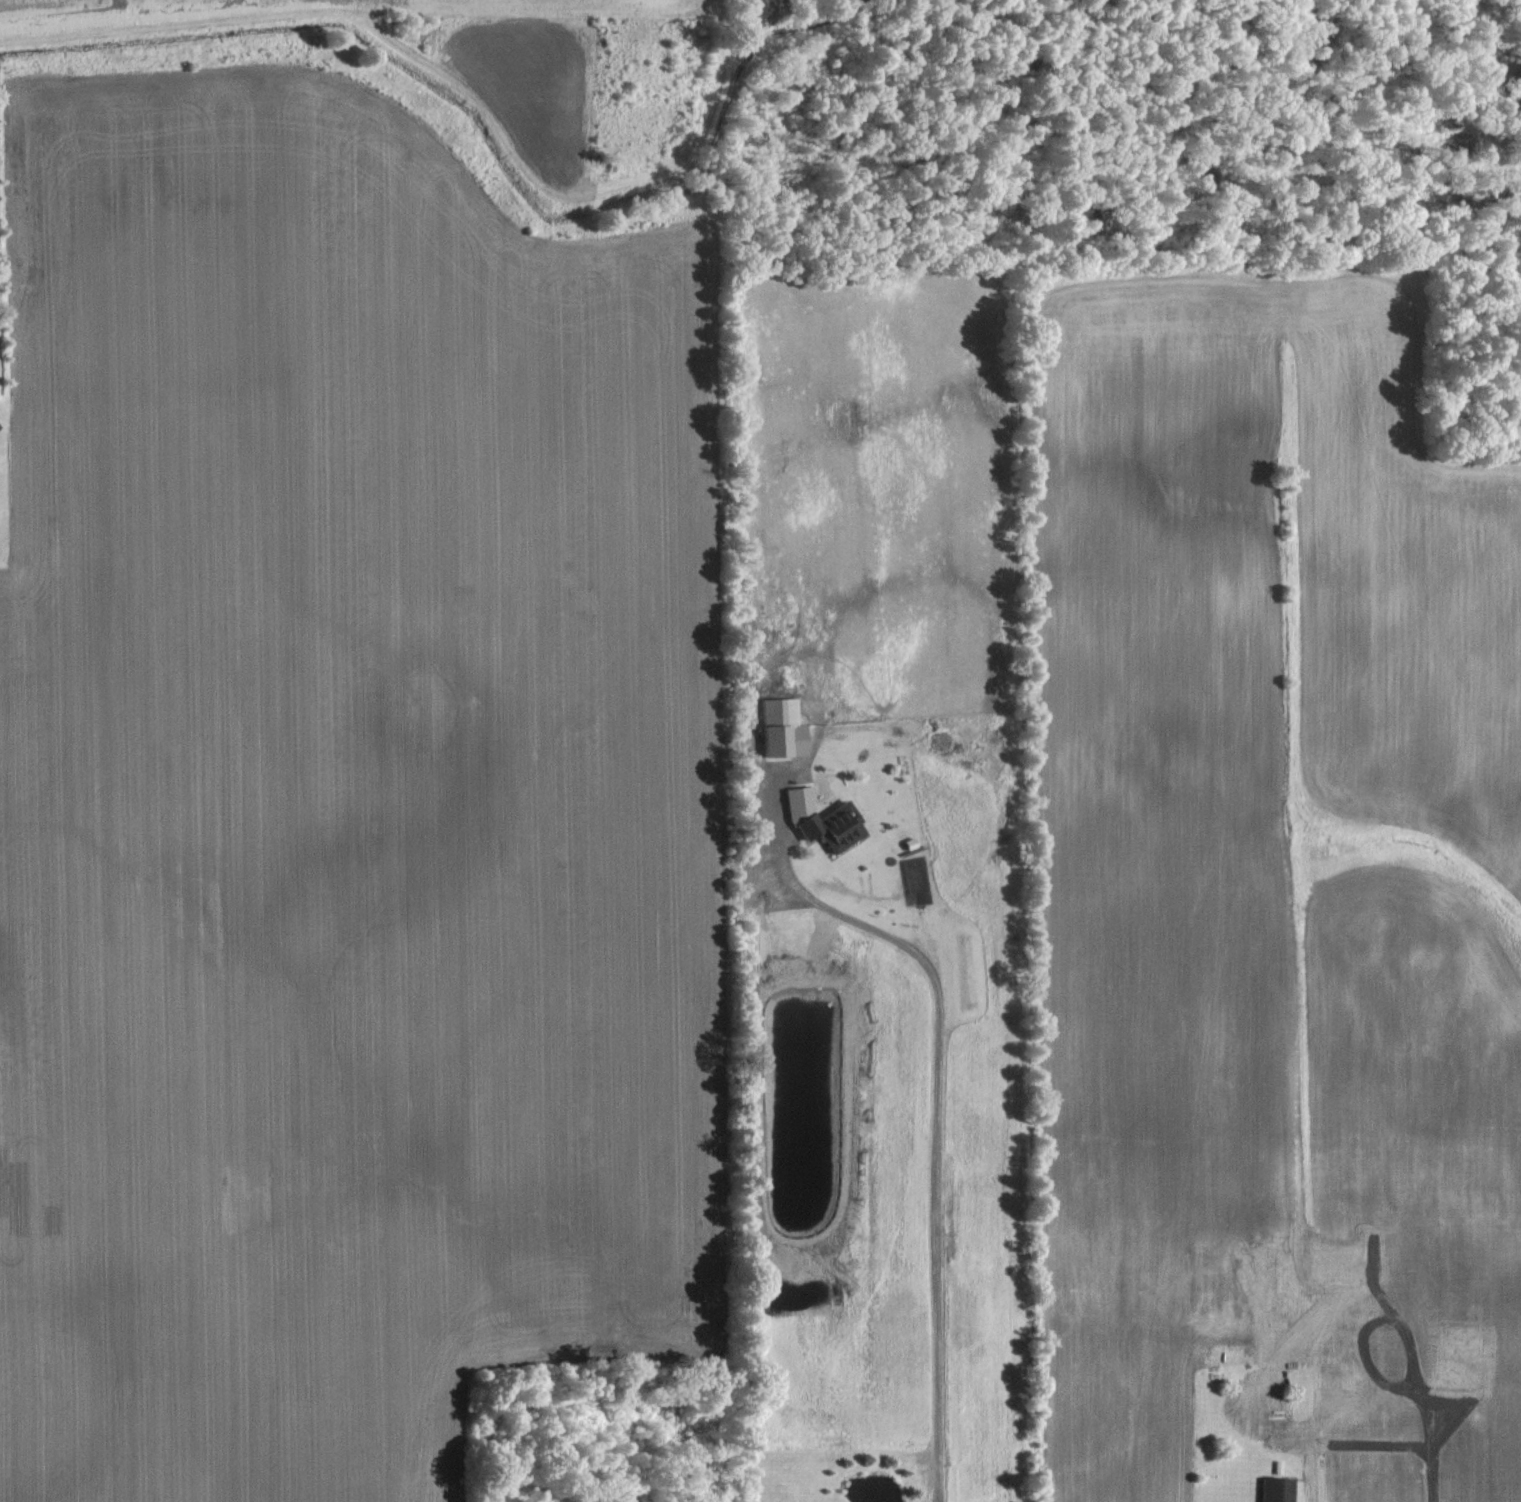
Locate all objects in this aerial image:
building: (786, 726)
building: (825, 817)
road: (940, 1092)
building: (1279, 1489)

